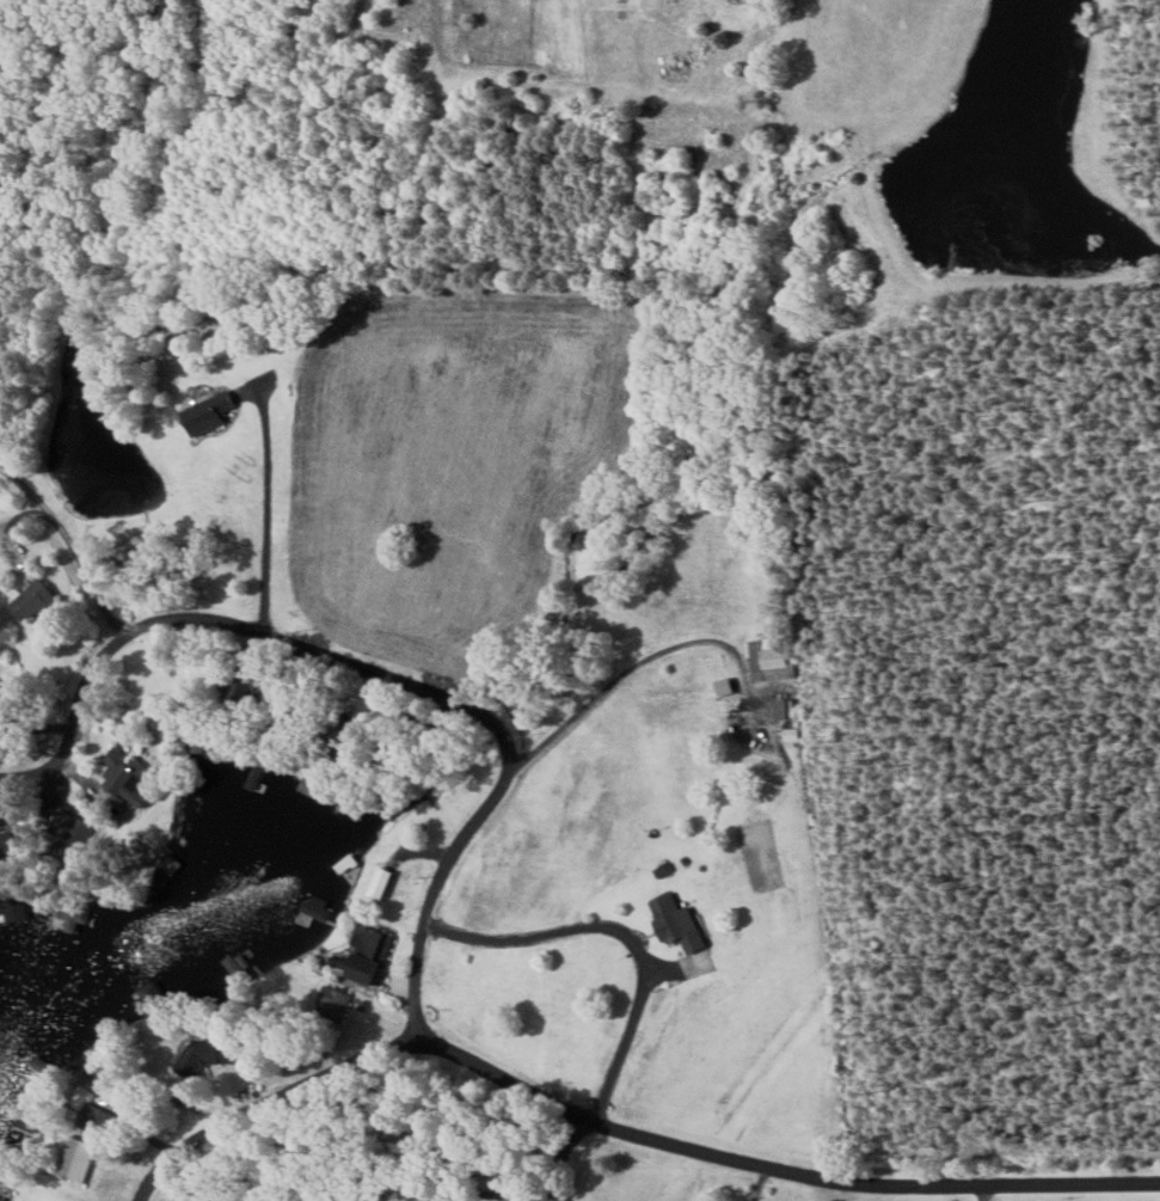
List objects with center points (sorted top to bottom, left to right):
building: (207, 412)
building: (29, 601)
building: (767, 657)
road: (376, 667)
building: (722, 686)
building: (780, 709)
building: (253, 776)
building: (123, 777)
building: (308, 788)
building: (69, 835)
building: (380, 882)
building: (315, 907)
building: (12, 909)
building: (69, 913)
building: (674, 923)
building: (364, 955)
building: (330, 1004)
building: (197, 1052)
building: (92, 1120)
road: (616, 1127)
building: (74, 1159)
road: (983, 1193)
building: (0, 1200)

